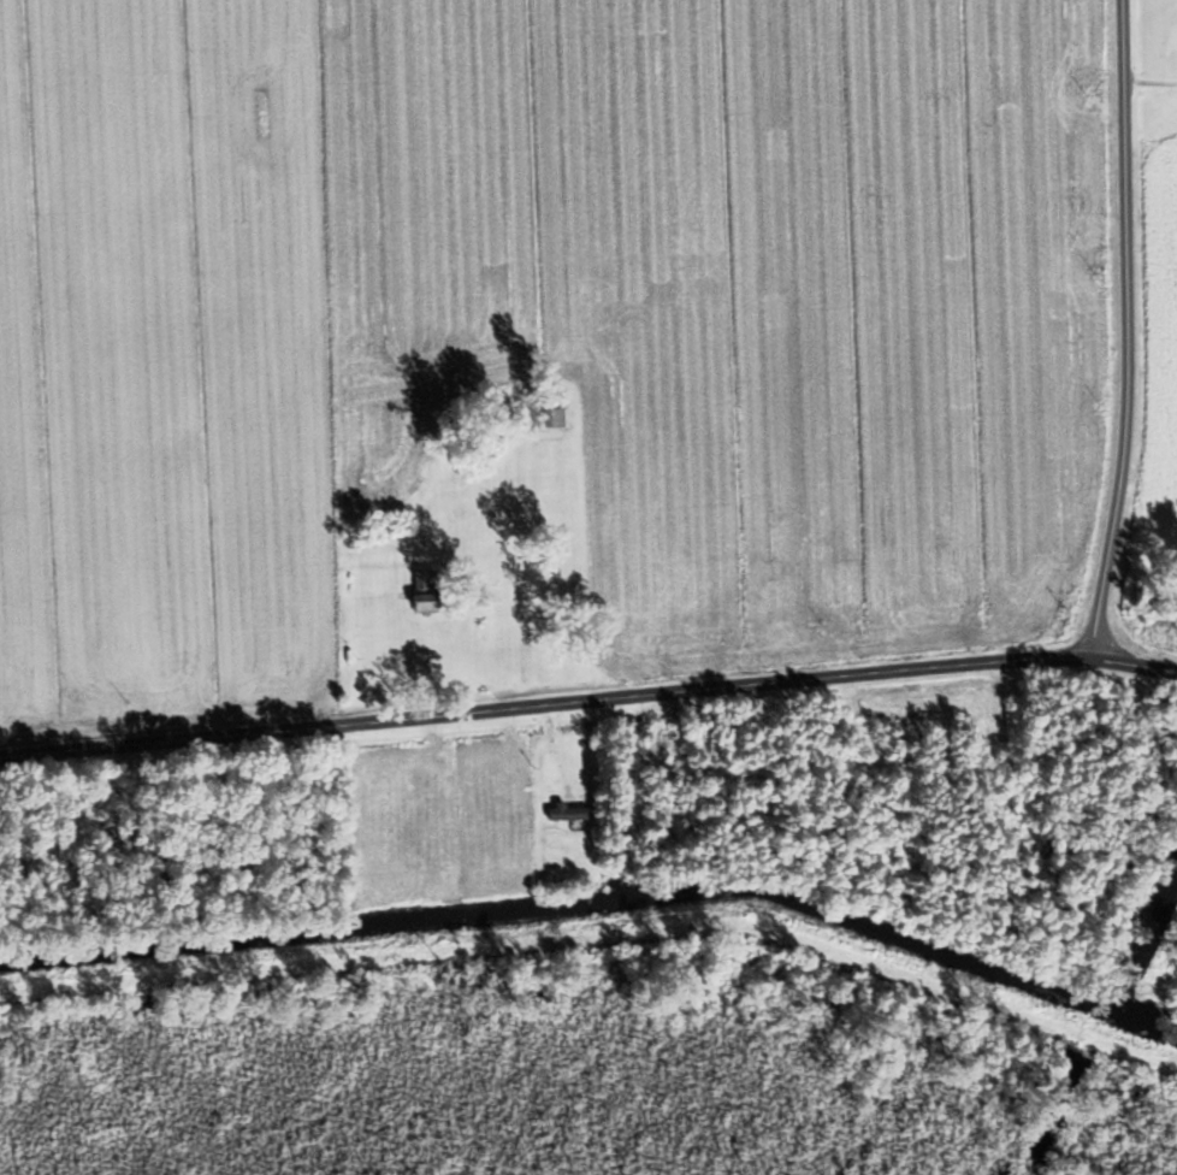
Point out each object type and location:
crop: (542, 321)
road: (1129, 333)
crop: (1159, 348)
building: (549, 415)
building: (422, 589)
road: (588, 705)
building: (566, 811)

